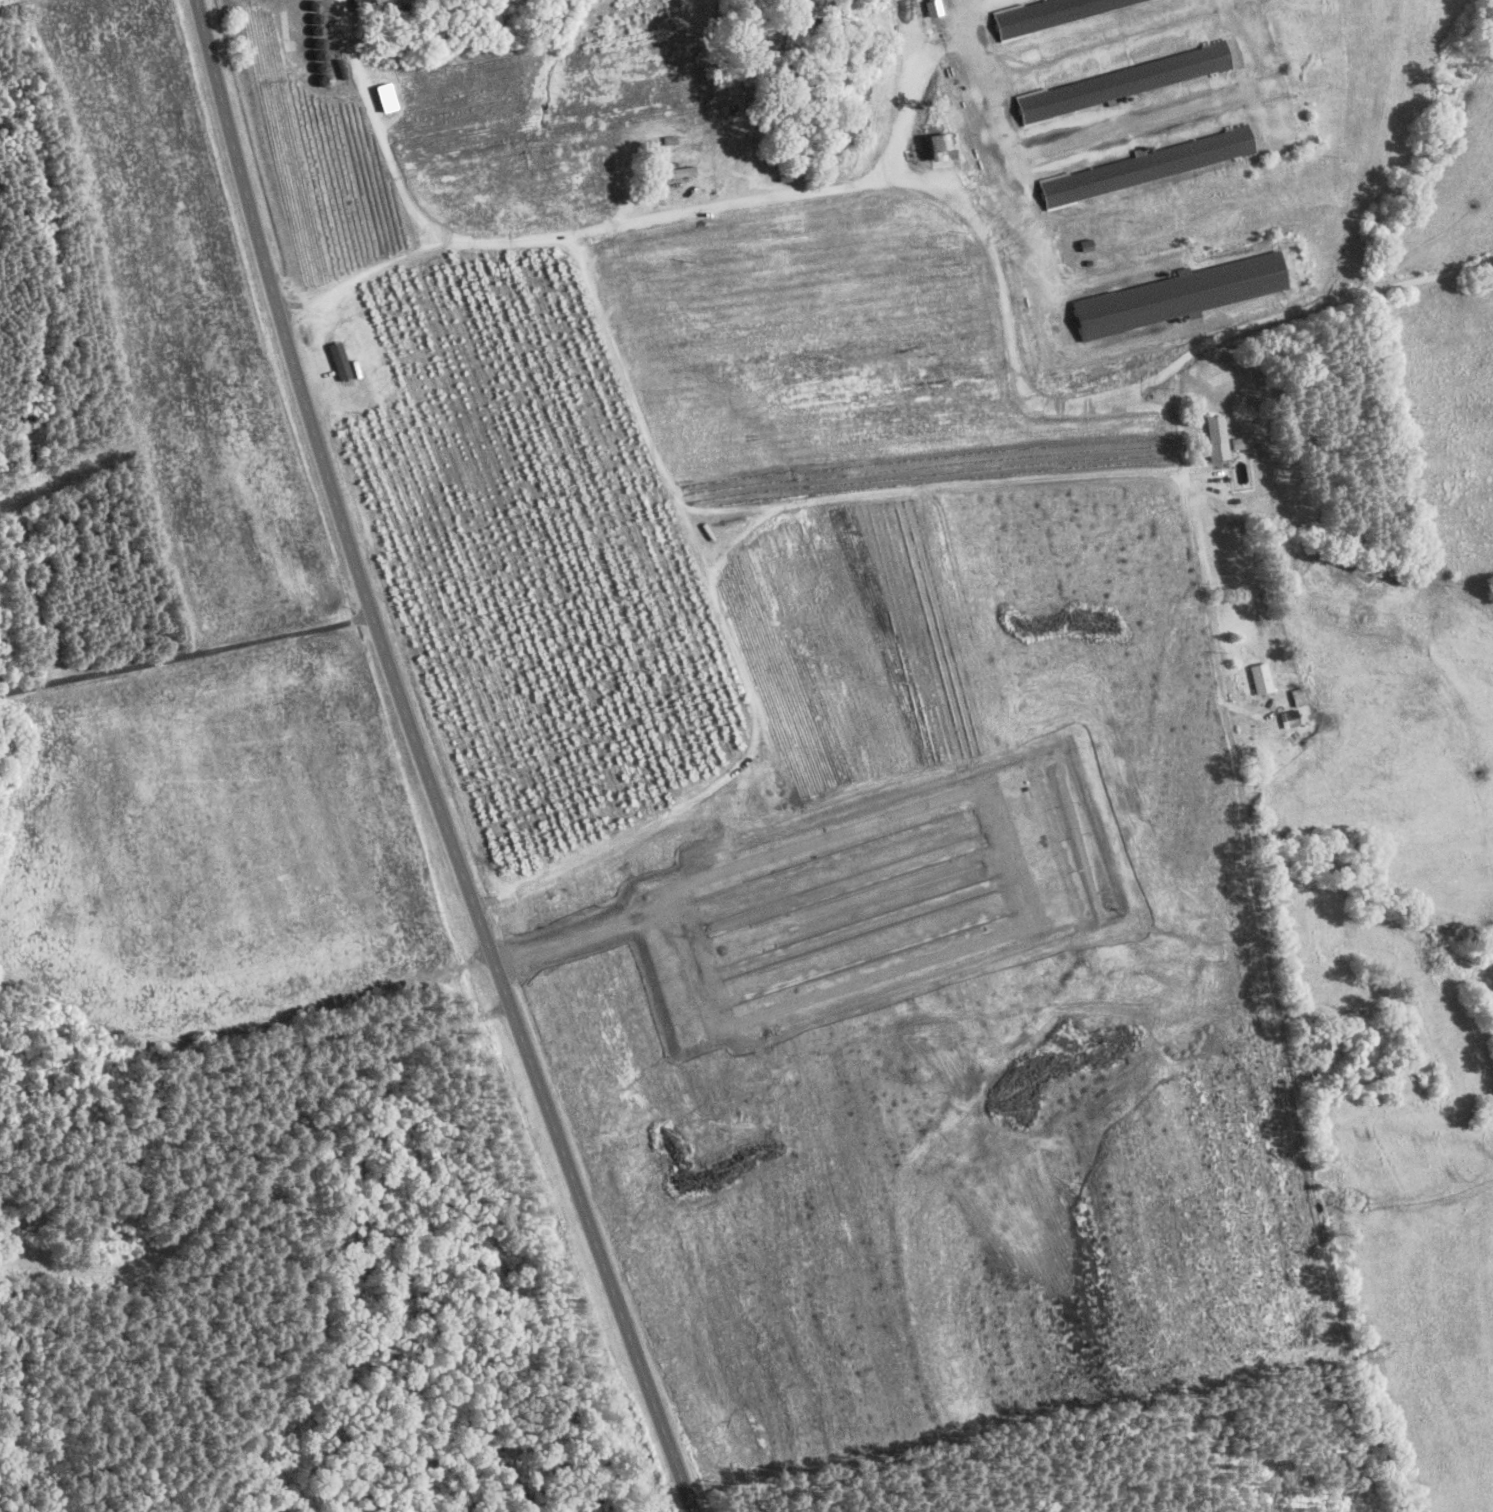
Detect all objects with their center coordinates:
building: (932, 8)
building: (1055, 13)
building: (1116, 86)
building: (382, 100)
building: (731, 138)
building: (936, 148)
building: (1148, 166)
road: (952, 203)
building: (1177, 296)
building: (336, 362)
building: (1213, 432)
road: (729, 642)
road: (186, 657)
building: (1257, 680)
building: (1296, 699)
road: (424, 762)
building: (746, 791)
building: (1312, 1050)
road: (1329, 1250)

